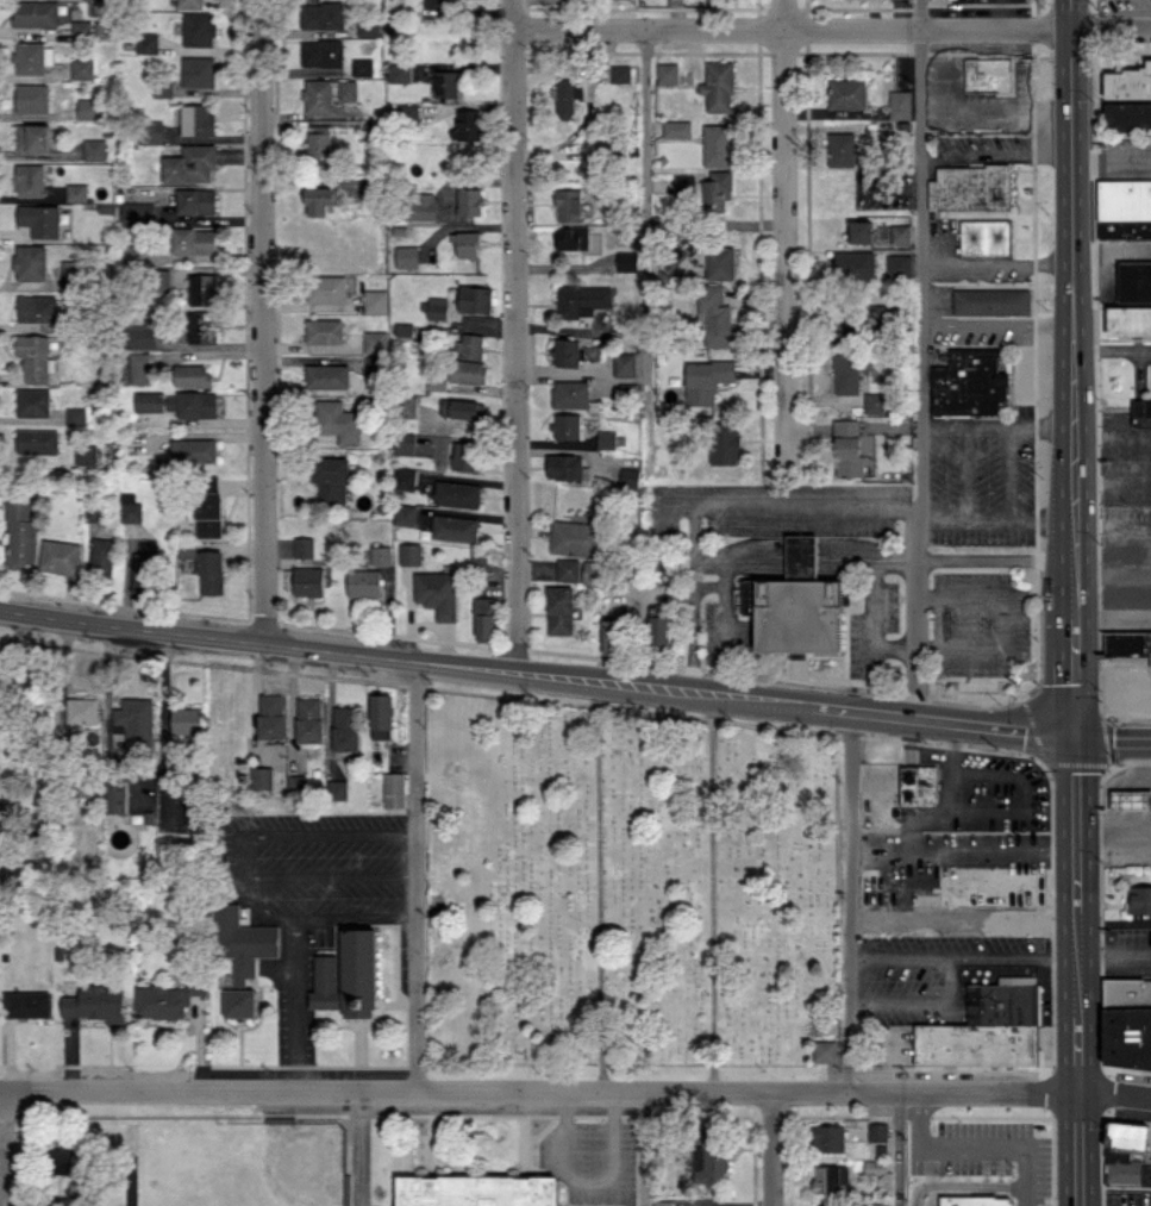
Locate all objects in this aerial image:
building: (190, 4)
building: (37, 13)
building: (323, 15)
building: (368, 26)
road: (830, 27)
building: (81, 29)
building: (199, 29)
building: (146, 42)
building: (323, 52)
building: (33, 57)
building: (363, 67)
building: (82, 69)
building: (199, 71)
building: (400, 71)
building: (621, 73)
building: (668, 73)
building: (988, 74)
building: (1128, 82)
building: (446, 83)
building: (718, 86)
building: (163, 89)
building: (348, 90)
building: (846, 93)
building: (318, 95)
building: (32, 98)
building: (567, 98)
building: (900, 104)
building: (89, 108)
building: (407, 113)
building: (1128, 115)
building: (198, 119)
building: (467, 125)
building: (677, 129)
building: (152, 131)
building: (33, 137)
building: (319, 140)
building: (718, 144)
building: (94, 149)
building: (842, 149)
road: (992, 157)
building: (190, 164)
road: (1109, 170)
building: (30, 180)
building: (684, 185)
building: (970, 188)
building: (717, 190)
building: (76, 192)
building: (320, 199)
building: (196, 200)
building: (469, 201)
building: (569, 205)
building: (423, 207)
road: (1068, 211)
building: (138, 213)
building: (40, 220)
building: (861, 231)
building: (901, 233)
road: (783, 237)
building: (984, 237)
building: (573, 238)
building: (194, 240)
building: (467, 243)
road: (648, 244)
road: (1109, 255)
building: (131, 256)
building: (407, 256)
building: (627, 261)
building: (31, 262)
building: (720, 262)
building: (853, 262)
building: (899, 263)
building: (164, 279)
building: (1134, 281)
building: (326, 288)
building: (204, 289)
building: (475, 299)
building: (582, 300)
building: (376, 301)
building: (992, 301)
building: (434, 307)
building: (38, 308)
building: (714, 315)
building: (1128, 320)
road: (261, 321)
building: (198, 327)
building: (404, 329)
building: (325, 331)
building: (143, 336)
road: (512, 337)
building: (375, 342)
building: (470, 345)
building: (565, 351)
building: (35, 357)
road: (914, 360)
building: (624, 363)
building: (139, 368)
building: (468, 371)
building: (846, 374)
building: (192, 375)
building: (327, 375)
building: (706, 380)
building: (969, 381)
building: (570, 394)
building: (33, 401)
building: (150, 401)
building: (874, 402)
building: (196, 404)
building: (407, 406)
building: (462, 408)
building: (1141, 412)
building: (75, 415)
building: (337, 420)
road: (992, 423)
building: (567, 425)
building: (606, 439)
building: (38, 440)
building: (405, 443)
building: (725, 443)
building: (847, 448)
building: (193, 450)
building: (86, 454)
building: (465, 456)
building: (564, 467)
road: (1070, 470)
building: (405, 477)
building: (628, 477)
building: (331, 479)
building: (457, 493)
road: (673, 501)
road: (703, 501)
building: (207, 505)
building: (131, 507)
building: (94, 513)
building: (405, 514)
road: (992, 519)
building: (453, 527)
building: (20, 533)
building: (574, 537)
road: (797, 545)
building: (304, 546)
road: (863, 549)
building: (411, 554)
building: (381, 555)
building: (801, 555)
road: (1070, 555)
building: (60, 556)
building: (101, 556)
road: (990, 556)
road: (706, 560)
building: (481, 561)
building: (567, 569)
building: (211, 571)
building: (592, 571)
building: (140, 573)
building: (308, 581)
building: (364, 582)
building: (437, 593)
road: (726, 598)
building: (745, 599)
road: (1070, 600)
building: (559, 610)
building: (799, 616)
building: (483, 617)
road: (1005, 619)
road: (869, 623)
building: (658, 626)
building: (611, 636)
building: (1127, 643)
road: (1070, 674)
road: (534, 675)
building: (233, 708)
building: (82, 710)
building: (270, 716)
building: (381, 716)
building: (187, 719)
building: (309, 719)
building: (135, 723)
road: (165, 726)
building: (344, 727)
traffic signals: (1071, 739)
road: (1111, 739)
building: (217, 773)
building: (261, 777)
building: (296, 781)
building: (919, 785)
building: (337, 789)
building: (393, 789)
building: (115, 796)
building: (1127, 799)
road: (1072, 826)
road: (330, 835)
building: (0, 854)
road: (243, 856)
road: (292, 876)
road: (415, 876)
road: (599, 887)
park: (626, 894)
road: (712, 894)
building: (1139, 899)
road: (849, 901)
road: (355, 917)
road: (961, 919)
building: (243, 942)
road: (1012, 956)
road: (1112, 956)
road: (1074, 967)
building: (354, 976)
road: (950, 979)
building: (168, 998)
building: (239, 1002)
building: (26, 1004)
building: (95, 1004)
road: (294, 1005)
building: (1127, 1024)
building: (986, 1027)
building: (824, 1051)
road: (1075, 1055)
road: (537, 1092)
road: (1113, 1094)
building: (877, 1131)
building: (828, 1138)
road: (974, 1145)
road: (4, 1148)
road: (770, 1148)
road: (897, 1148)
road: (1075, 1148)
road: (361, 1149)
road: (642, 1149)
building: (1126, 1154)
building: (709, 1160)
building: (63, 1161)
building: (876, 1167)
building: (828, 1177)
building: (471, 1189)
building: (976, 1200)
building: (662, 1202)
building: (878, 1204)
building: (820, 1205)

